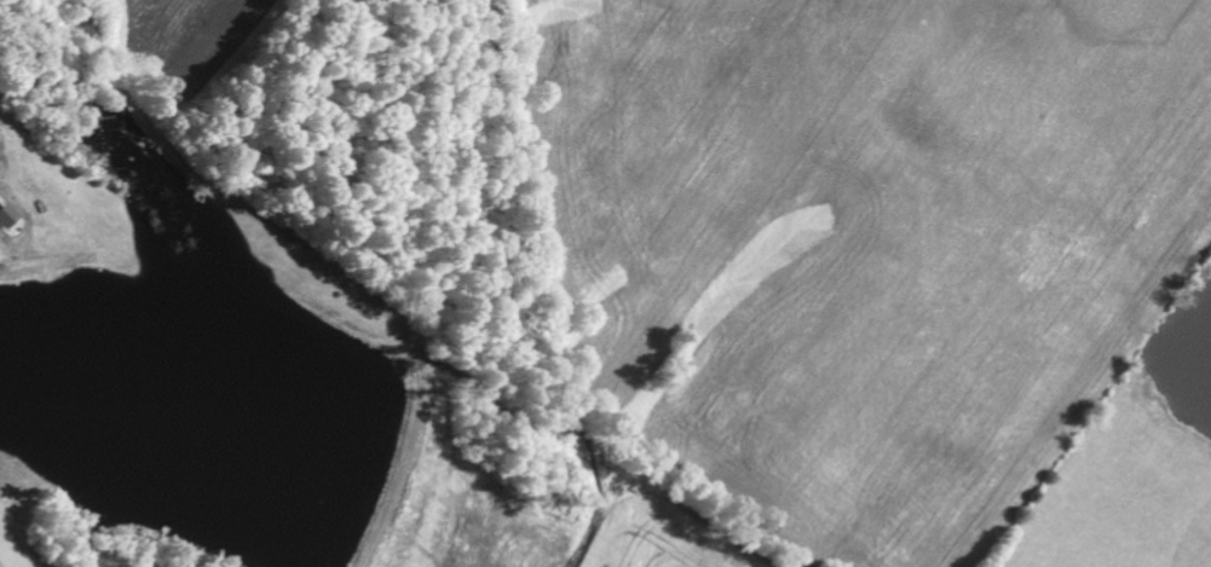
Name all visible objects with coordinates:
building: (6, 218)

